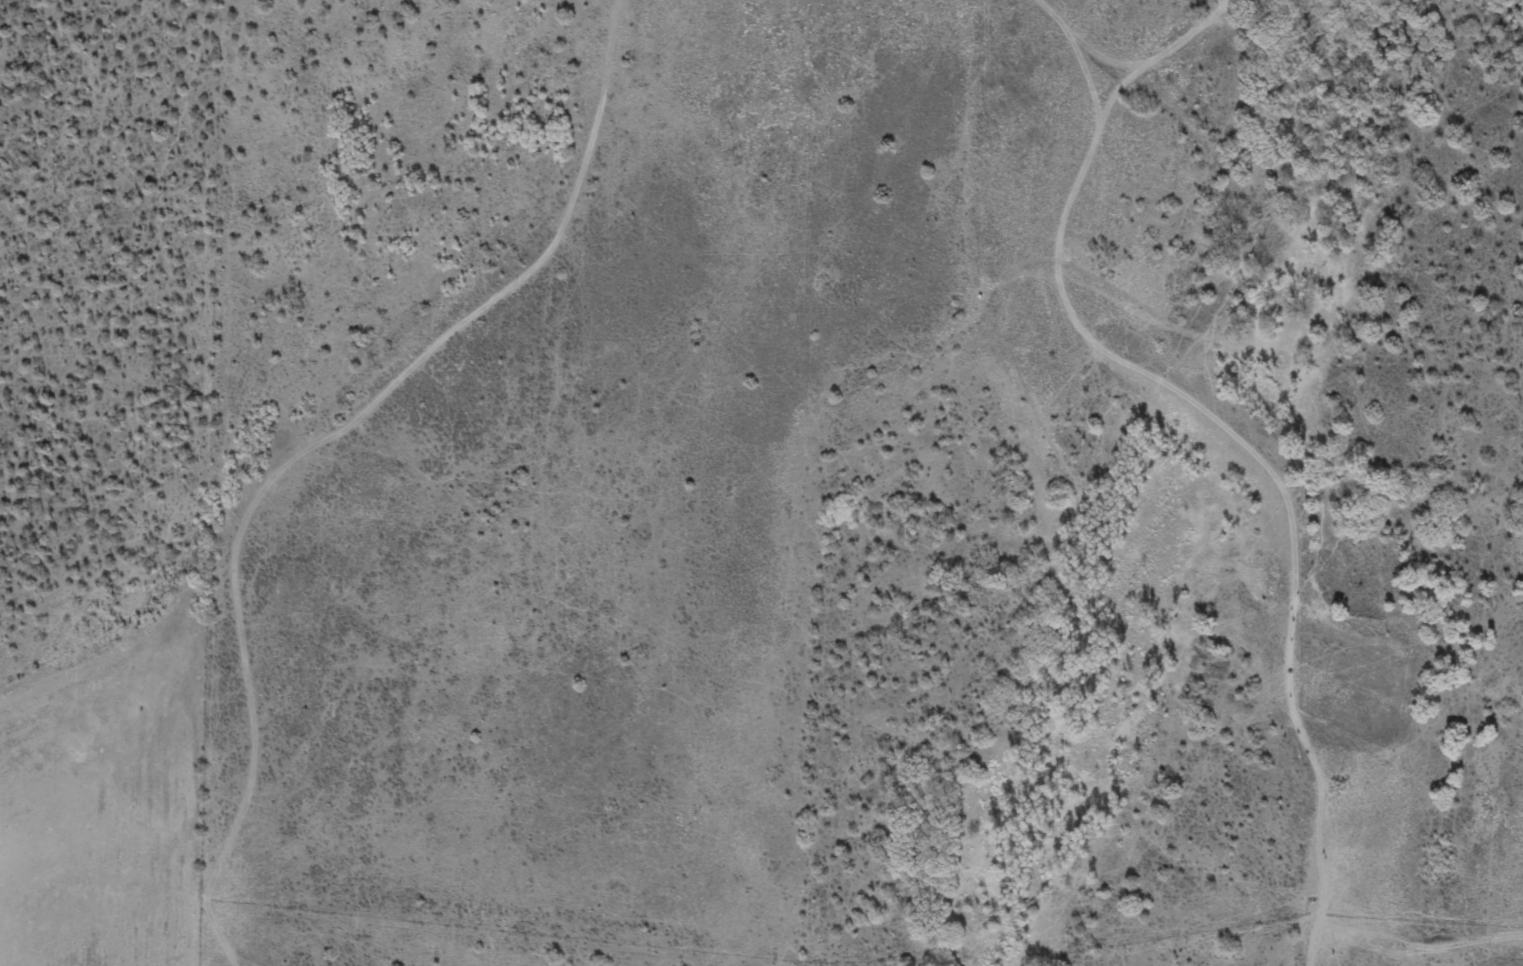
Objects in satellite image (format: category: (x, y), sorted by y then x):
road: (1226, 480)

